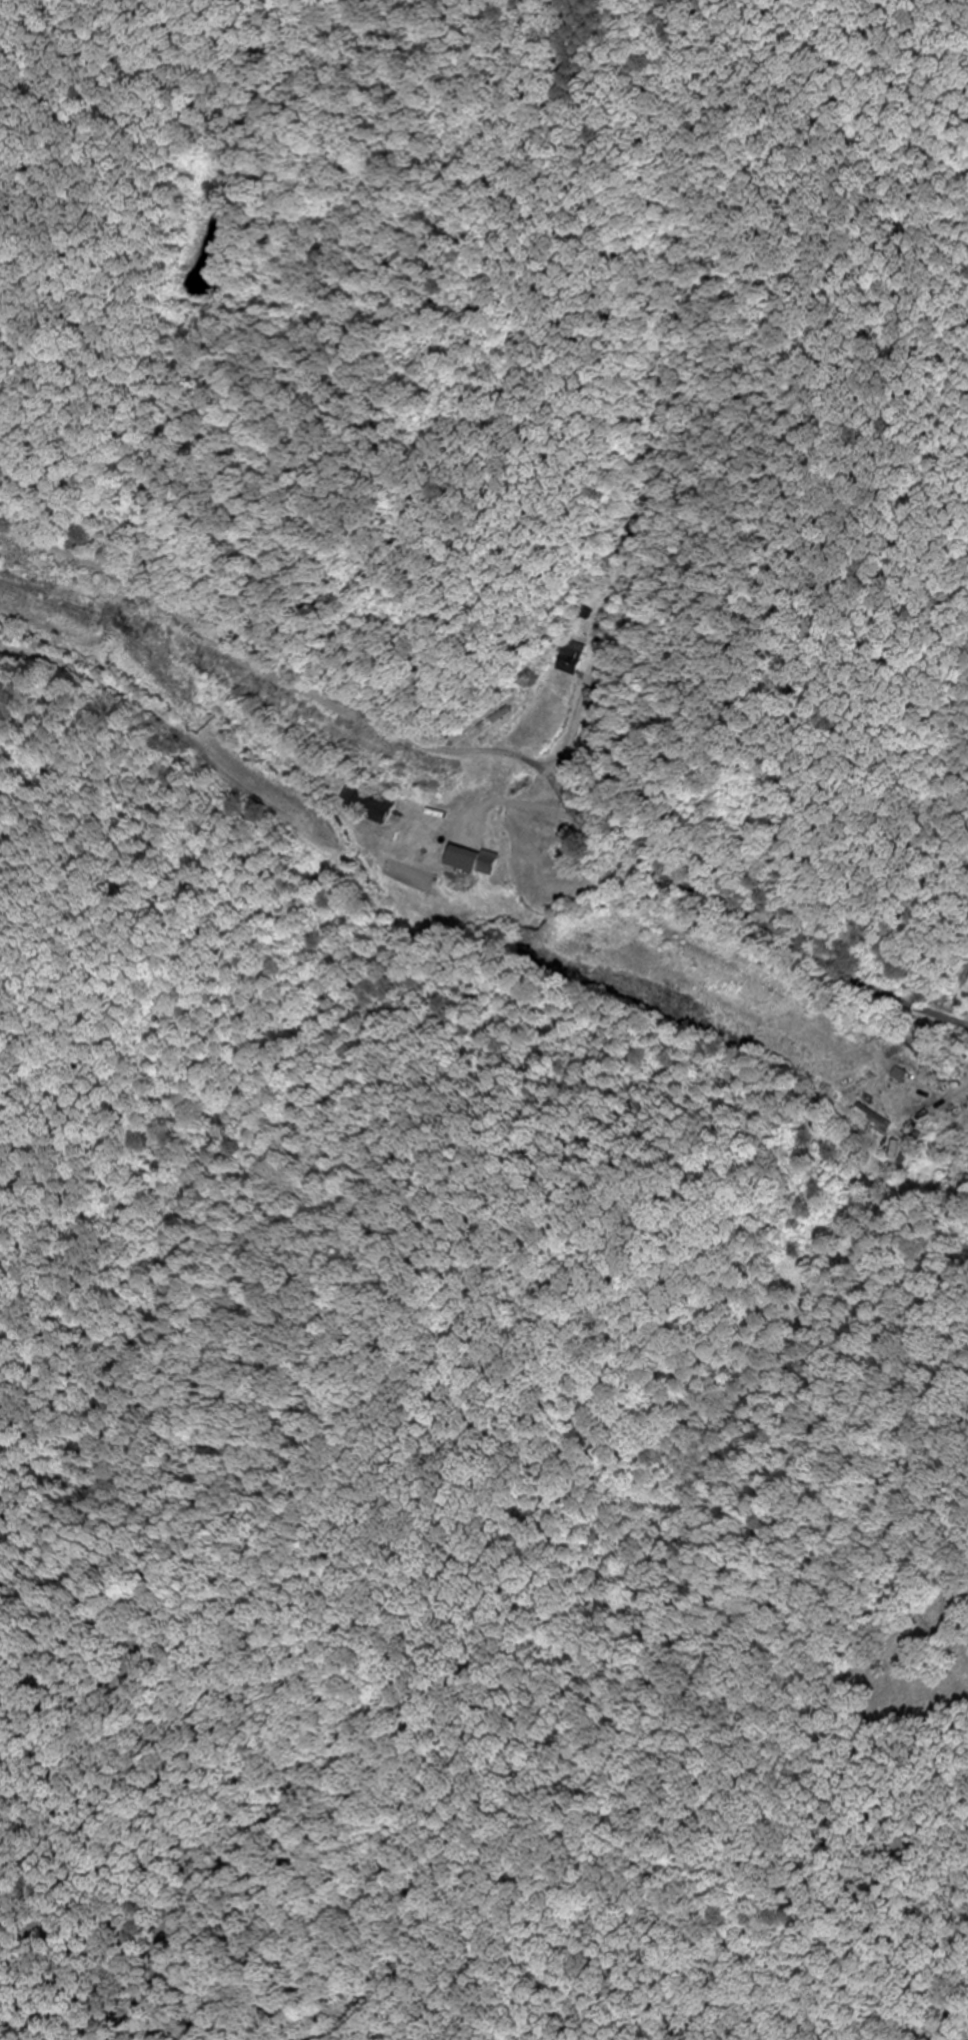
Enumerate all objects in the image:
building: (614, 557)
building: (571, 655)
building: (363, 808)
building: (485, 863)
road: (747, 915)

